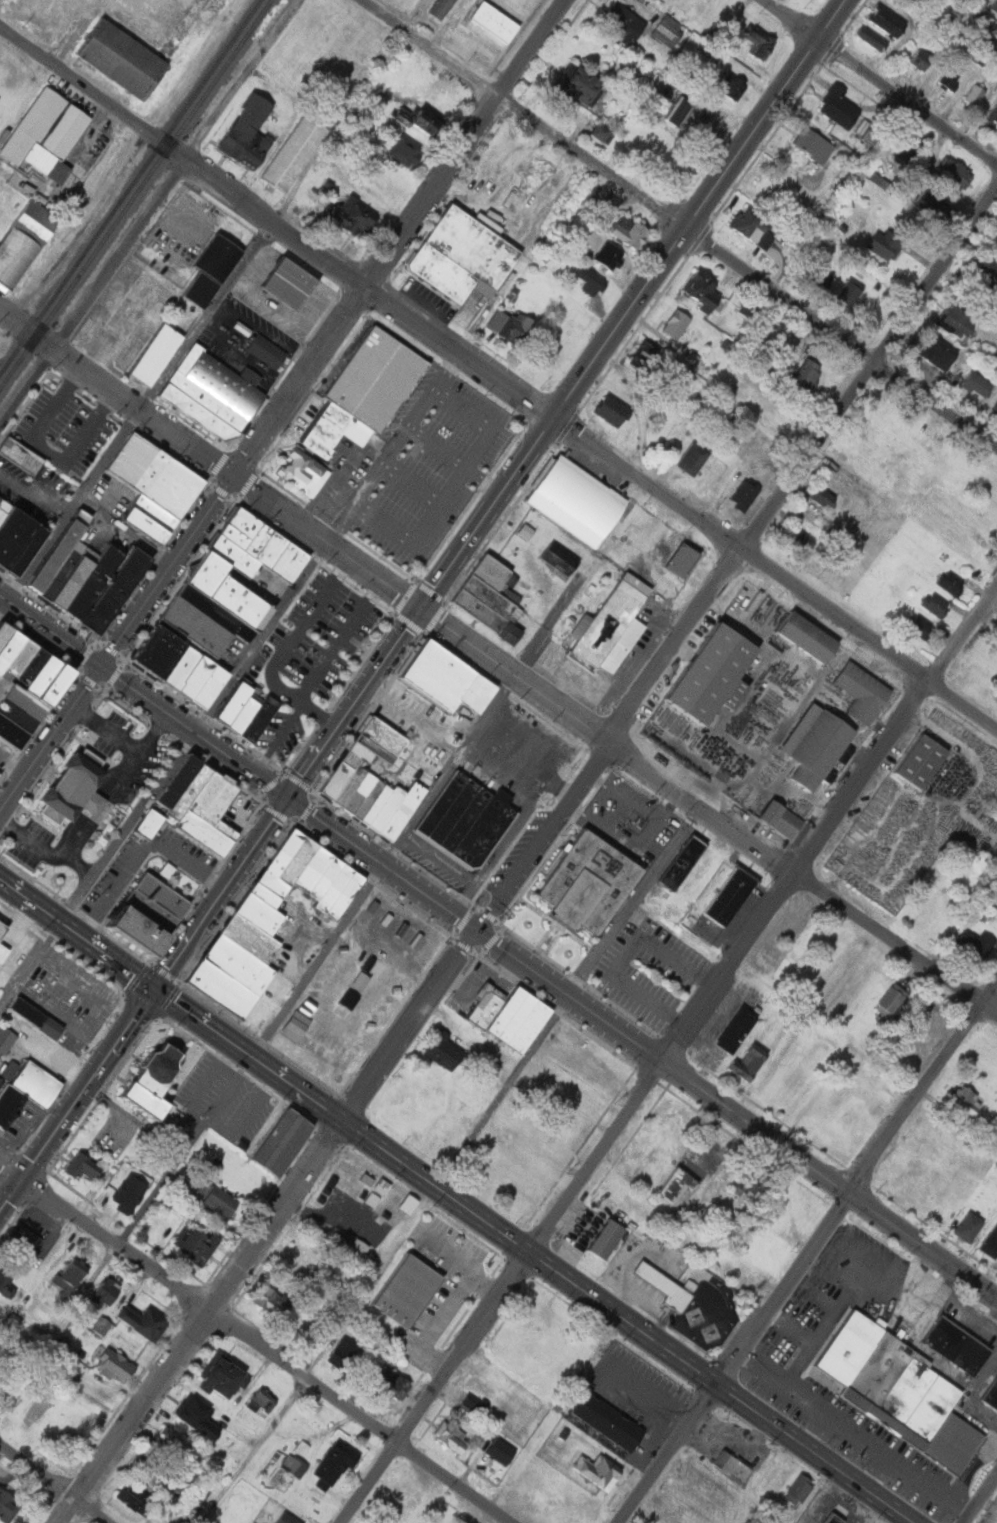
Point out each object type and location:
building: (994, 5)
building: (439, 8)
building: (493, 22)
building: (624, 23)
building: (883, 26)
building: (668, 31)
building: (758, 43)
building: (988, 46)
building: (113, 57)
building: (922, 58)
building: (950, 79)
road: (880, 81)
building: (580, 84)
road: (84, 86)
building: (728, 86)
building: (976, 94)
building: (841, 106)
building: (673, 113)
building: (993, 114)
building: (420, 123)
road: (339, 124)
building: (864, 131)
building: (248, 132)
building: (602, 132)
building: (46, 133)
building: (817, 146)
building: (910, 147)
building: (296, 149)
building: (403, 150)
building: (955, 172)
railway: (129, 185)
railway: (134, 193)
building: (931, 199)
road: (149, 207)
building: (354, 214)
road: (679, 221)
building: (755, 229)
building: (630, 230)
building: (24, 241)
building: (888, 245)
building: (463, 254)
building: (608, 255)
building: (211, 270)
building: (984, 274)
building: (816, 277)
building: (588, 281)
building: (292, 284)
building: (701, 289)
building: (850, 293)
road: (638, 306)
building: (958, 321)
building: (676, 323)
road: (17, 324)
building: (510, 324)
road: (339, 336)
building: (267, 351)
building: (980, 351)
building: (938, 352)
building: (156, 353)
building: (996, 353)
building: (644, 356)
building: (806, 376)
building: (376, 378)
building: (977, 383)
building: (214, 394)
building: (995, 406)
road: (134, 410)
building: (611, 410)
road: (582, 438)
road: (48, 451)
building: (21, 454)
building: (692, 458)
building: (303, 471)
building: (154, 474)
road: (226, 474)
building: (739, 495)
building: (823, 498)
building: (573, 500)
building: (4, 508)
building: (149, 518)
building: (243, 520)
road: (126, 531)
building: (524, 531)
building: (14, 535)
building: (233, 535)
building: (796, 537)
building: (258, 538)
building: (273, 548)
building: (61, 549)
building: (26, 551)
building: (234, 554)
building: (555, 557)
building: (291, 560)
building: (683, 560)
road: (738, 562)
building: (638, 568)
building: (64, 570)
building: (207, 573)
building: (75, 578)
building: (94, 581)
building: (949, 582)
building: (115, 589)
building: (490, 598)
building: (243, 604)
building: (934, 605)
traffic signals: (420, 609)
building: (216, 613)
building: (611, 625)
building: (197, 626)
building: (919, 626)
building: (5, 634)
building: (807, 636)
road: (338, 641)
building: (12, 651)
building: (157, 651)
road: (282, 652)
building: (24, 658)
building: (35, 665)
building: (179, 666)
traffic signals: (101, 668)
building: (713, 673)
building: (194, 676)
building: (439, 676)
building: (46, 677)
building: (59, 686)
building: (208, 686)
building: (862, 692)
building: (479, 695)
building: (232, 702)
road: (355, 704)
building: (24, 709)
building: (242, 713)
building: (258, 717)
road: (528, 727)
road: (105, 731)
building: (13, 734)
building: (383, 734)
road: (278, 740)
road: (50, 741)
building: (817, 745)
building: (374, 747)
building: (356, 754)
parking lot: (5, 756)
building: (919, 761)
road: (502, 763)
road: (13, 766)
building: (334, 781)
building: (176, 782)
road: (115, 785)
building: (348, 787)
building: (78, 789)
building: (188, 791)
building: (358, 793)
road: (527, 799)
traffic signals: (291, 800)
building: (367, 800)
road: (142, 804)
building: (213, 804)
building: (375, 805)
building: (385, 808)
building: (401, 811)
road: (706, 811)
building: (113, 818)
building: (780, 818)
road: (414, 819)
building: (466, 820)
building: (148, 823)
road: (832, 830)
building: (204, 833)
building: (680, 861)
building: (300, 862)
building: (282, 863)
building: (314, 869)
road: (450, 870)
building: (327, 878)
building: (589, 883)
building: (336, 888)
building: (267, 894)
building: (347, 895)
building: (730, 896)
road: (76, 897)
building: (995, 902)
building: (146, 912)
building: (261, 913)
building: (116, 928)
building: (3, 929)
building: (251, 938)
parking lot: (391, 943)
building: (974, 943)
road: (498, 945)
building: (1, 950)
building: (241, 964)
building: (357, 980)
building: (224, 989)
road: (156, 990)
traffic signals: (155, 993)
building: (346, 999)
building: (889, 999)
building: (485, 1008)
building: (37, 1018)
building: (518, 1018)
building: (291, 1025)
building: (738, 1030)
building: (6, 1038)
building: (443, 1051)
building: (749, 1062)
building: (0, 1079)
building: (155, 1081)
building: (28, 1091)
road: (926, 1094)
building: (963, 1098)
building: (968, 1124)
building: (284, 1141)
building: (83, 1167)
building: (344, 1167)
road: (11, 1174)
building: (363, 1178)
building: (329, 1180)
traffic signals: (22, 1182)
building: (749, 1183)
building: (671, 1184)
building: (378, 1186)
building: (129, 1194)
road: (11, 1197)
building: (370, 1199)
road: (457, 1200)
building: (216, 1201)
building: (402, 1204)
building: (968, 1225)
road: (269, 1227)
building: (327, 1233)
building: (606, 1239)
building: (24, 1240)
building: (195, 1243)
building: (990, 1243)
building: (353, 1248)
building: (299, 1255)
road: (100, 1265)
building: (735, 1271)
building: (72, 1273)
building: (6, 1278)
building: (665, 1286)
building: (406, 1288)
road: (504, 1292)
building: (105, 1293)
road: (845, 1296)
building: (270, 1300)
road: (955, 1302)
building: (143, 1321)
road: (791, 1327)
building: (957, 1345)
building: (847, 1347)
road: (267, 1349)
building: (343, 1352)
road: (734, 1357)
building: (116, 1366)
building: (877, 1373)
building: (222, 1375)
building: (389, 1382)
building: (991, 1394)
building: (904, 1395)
building: (259, 1402)
building: (474, 1409)
building: (930, 1413)
building: (199, 1418)
building: (609, 1421)
road: (817, 1428)
road: (856, 1430)
building: (451, 1436)
building: (172, 1443)
building: (954, 1444)
road: (254, 1449)
building: (501, 1450)
building: (335, 1463)
building: (294, 1464)
building: (731, 1464)
building: (153, 1469)
building: (597, 1470)
road: (877, 1471)
building: (776, 1472)
road: (55, 1483)
building: (798, 1489)
building: (134, 1498)
road: (980, 1500)
building: (7, 1505)
building: (190, 1505)
building: (287, 1518)
building: (826, 1519)
building: (836, 1519)
building: (366, 1521)

